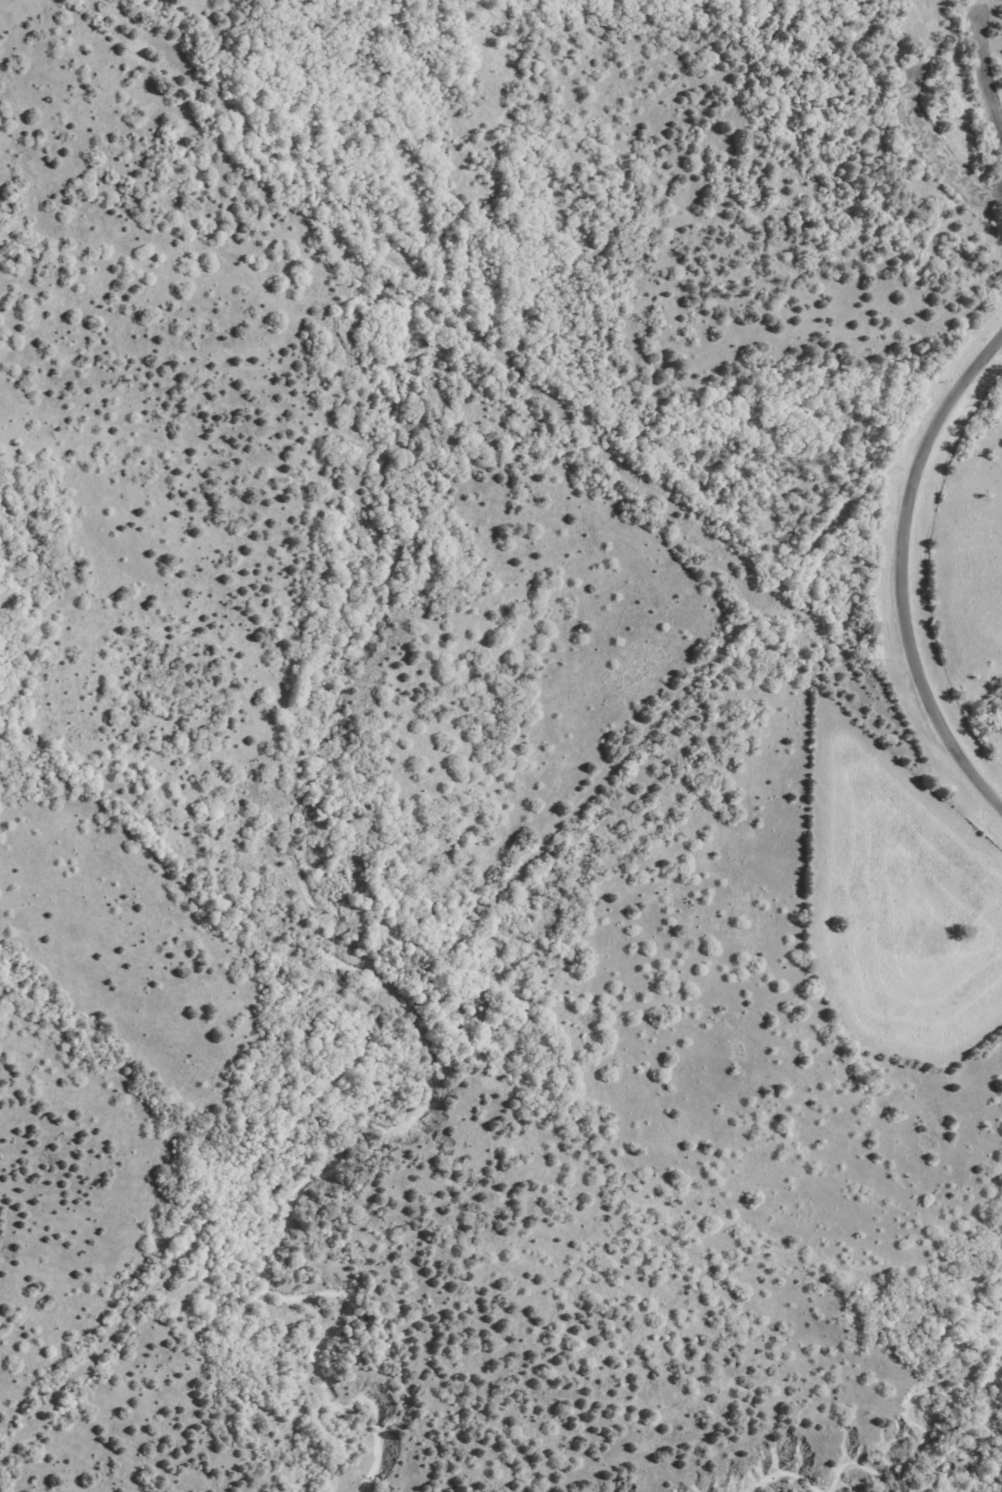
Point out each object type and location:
road: (902, 568)

